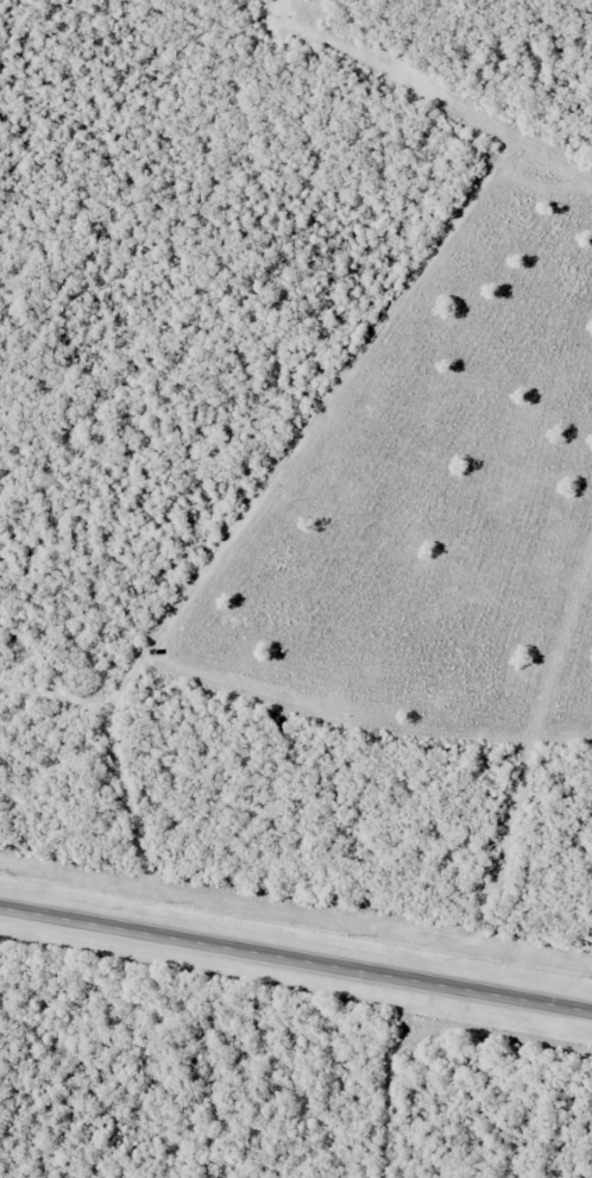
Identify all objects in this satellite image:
road: (296, 958)

